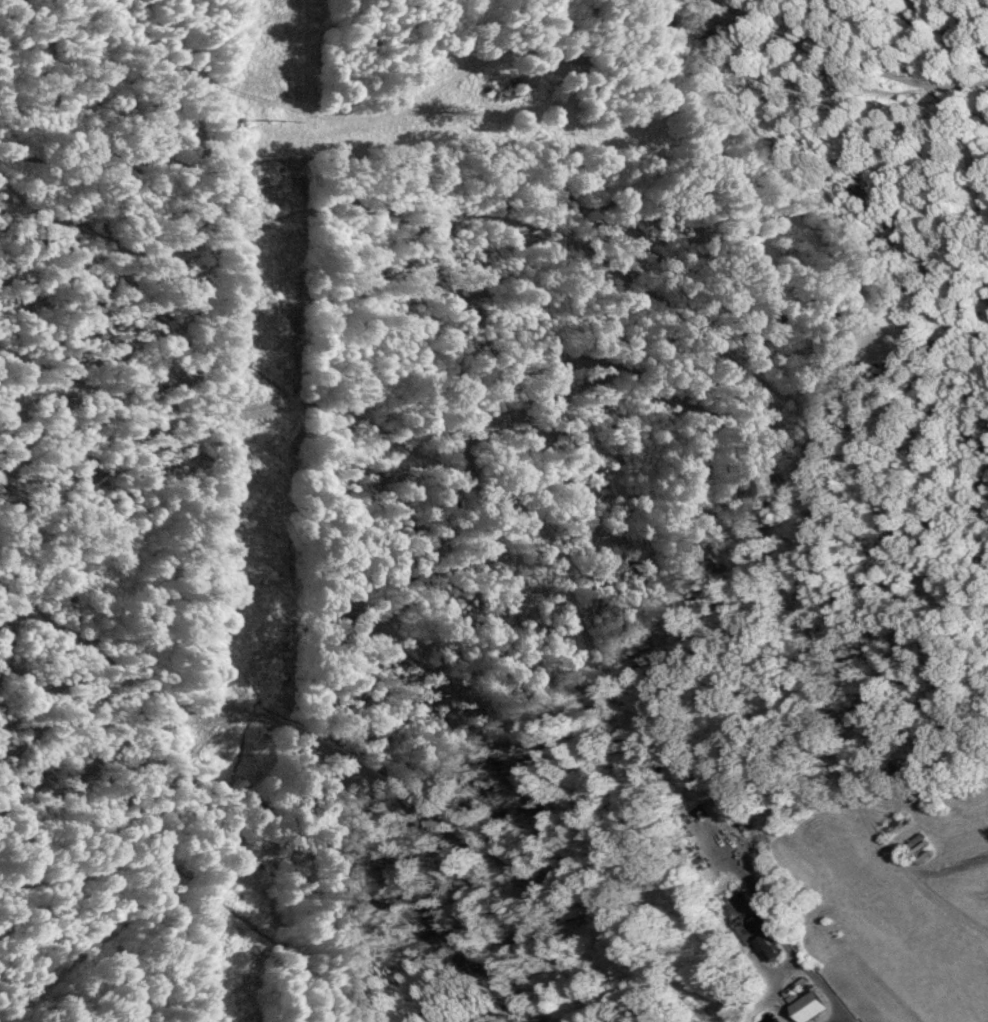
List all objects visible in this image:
building: (771, 953)

